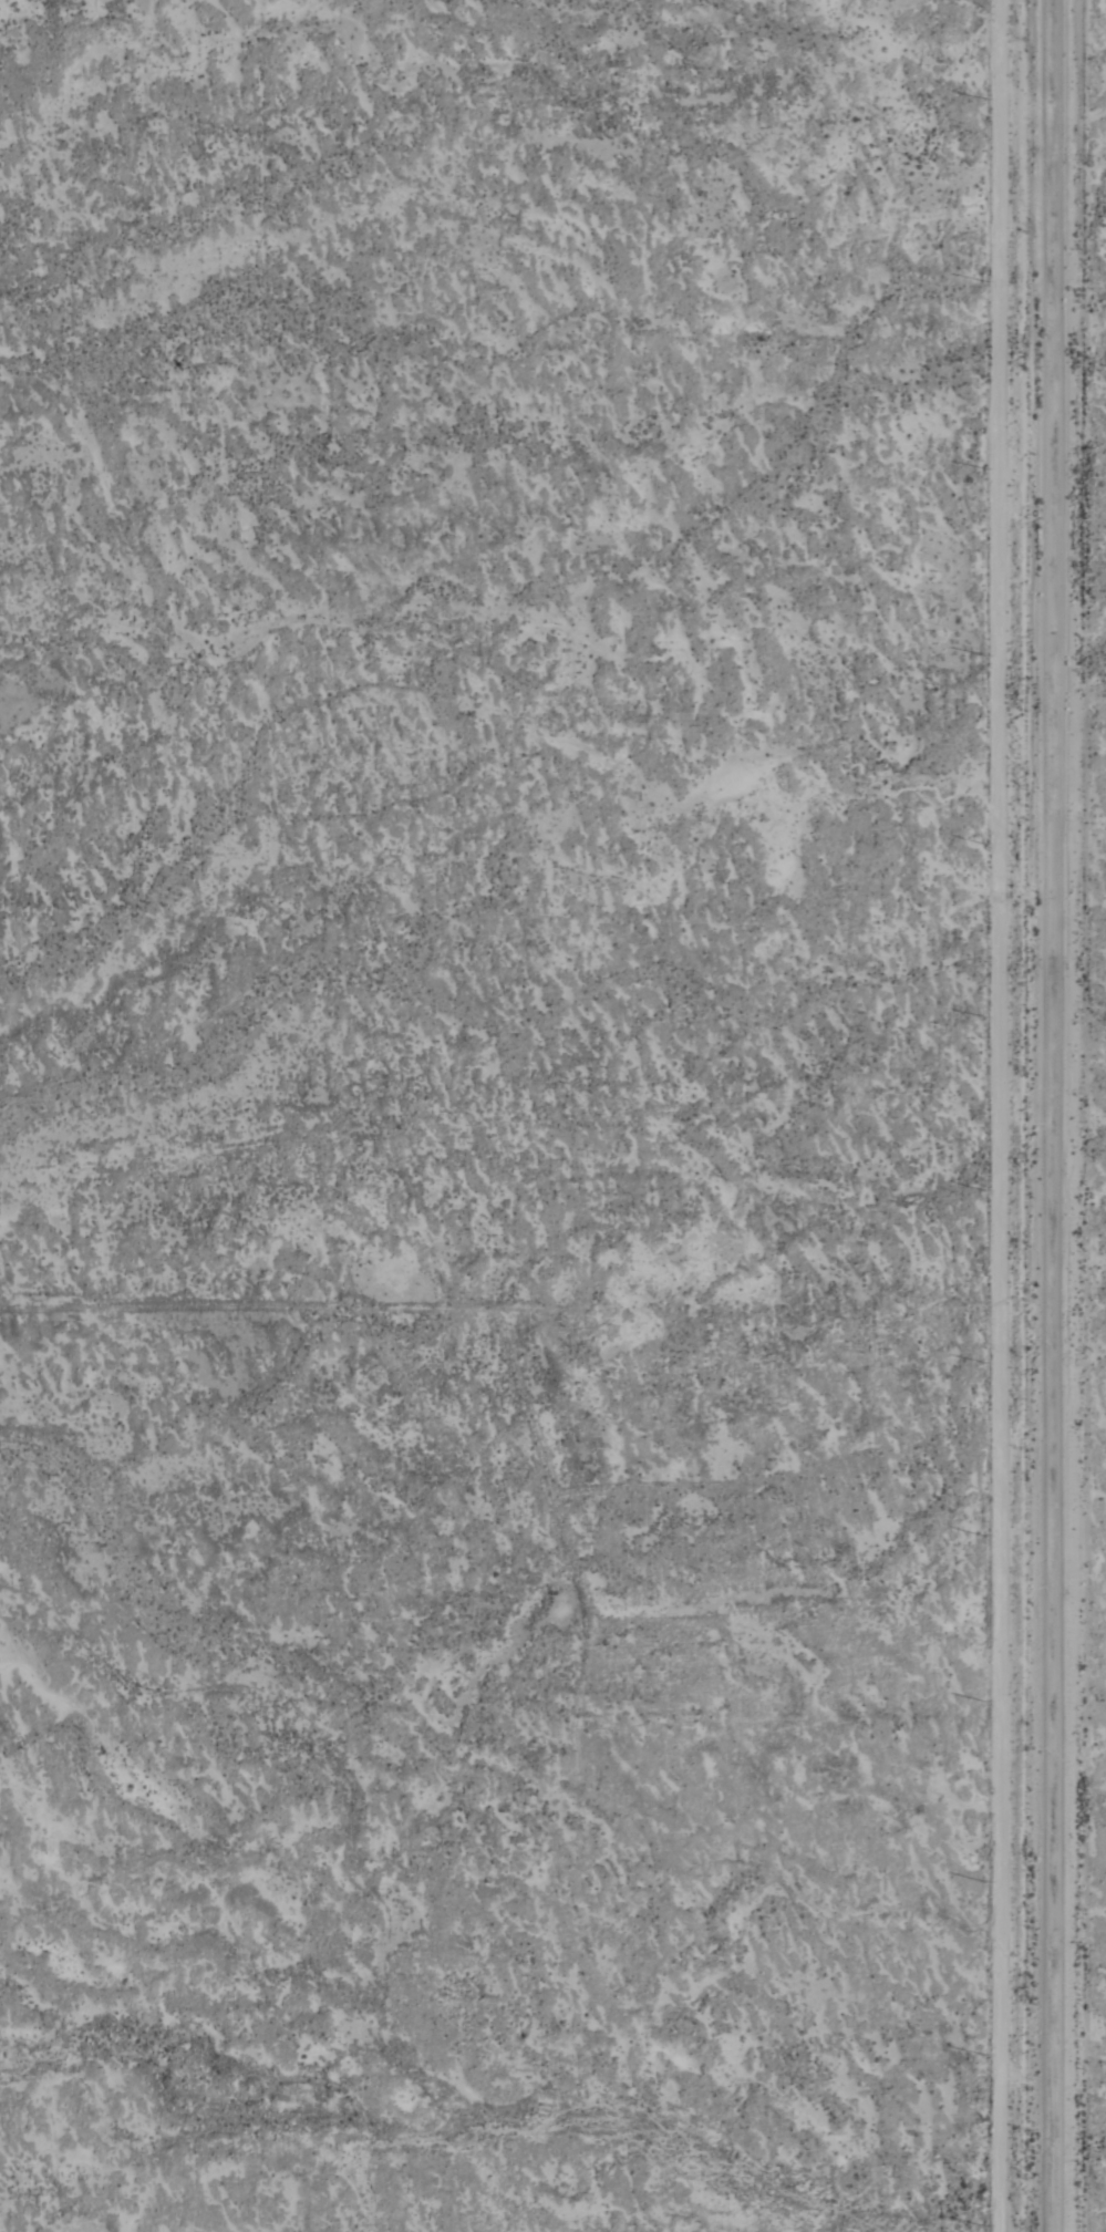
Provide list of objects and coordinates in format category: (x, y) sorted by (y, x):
road: (995, 1116)
road: (1056, 1116)

